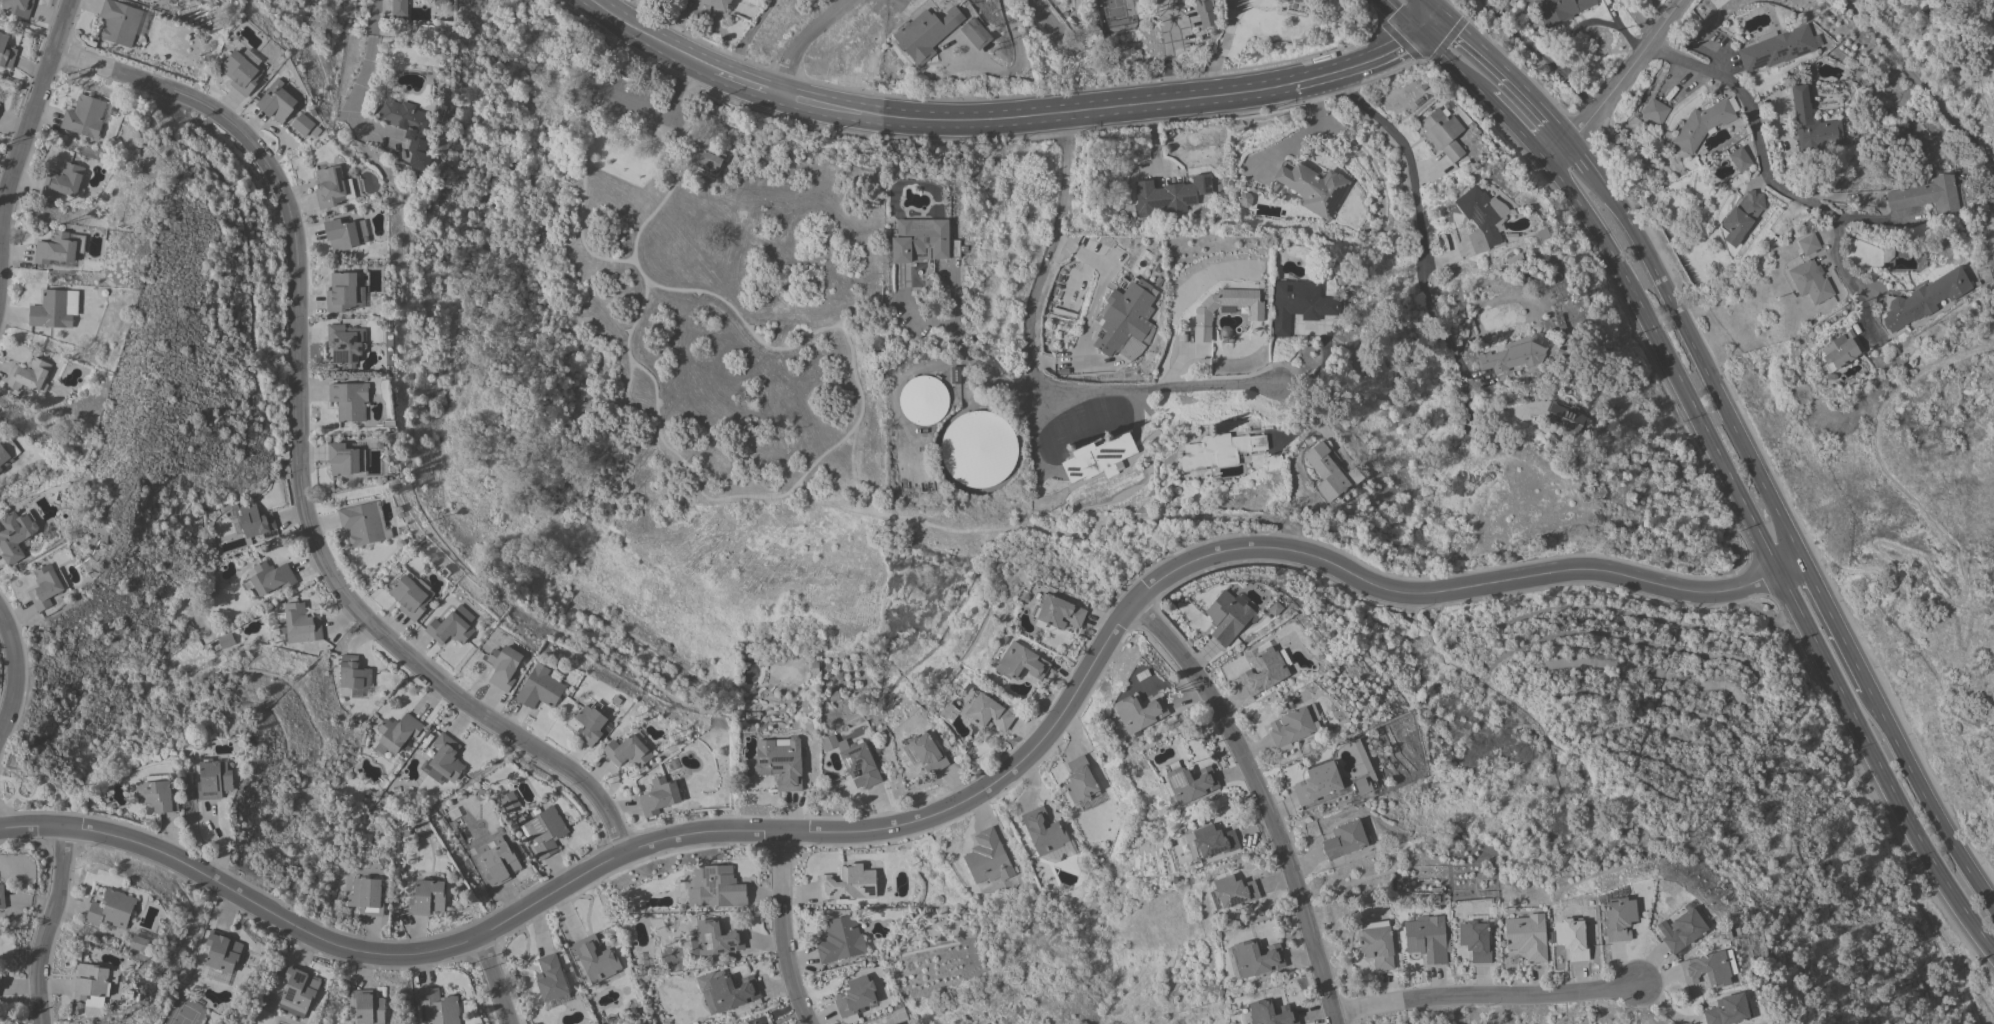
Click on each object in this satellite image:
building: (173, 0)
building: (1297, 0)
building: (442, 2)
building: (1718, 3)
building: (718, 4)
road: (1438, 5)
building: (19, 7)
road: (1448, 7)
building: (399, 8)
building: (1559, 10)
building: (1205, 12)
road: (1400, 17)
road: (1641, 19)
road: (1047, 20)
building: (119, 22)
road: (1431, 22)
building: (925, 33)
building: (975, 33)
road: (747, 35)
road: (650, 36)
road: (805, 39)
building: (1777, 47)
road: (603, 49)
road: (1168, 50)
building: (6, 52)
road: (1538, 53)
road: (367, 58)
road: (1452, 64)
road: (1359, 66)
road: (1505, 71)
building: (241, 73)
road: (748, 80)
road: (1923, 83)
road: (679, 85)
road: (1620, 86)
road: (627, 96)
building: (277, 101)
parking lot: (638, 105)
road: (32, 111)
building: (1655, 111)
road: (604, 112)
road: (1036, 115)
building: (85, 116)
building: (1704, 123)
building: (302, 124)
road: (1512, 124)
building: (1813, 124)
building: (409, 128)
building: (1443, 133)
road: (1303, 134)
road: (1987, 148)
building: (705, 156)
building: (1739, 159)
road: (1767, 179)
building: (64, 181)
building: (329, 187)
building: (1313, 188)
building: (1169, 195)
building: (1927, 195)
building: (1741, 217)
building: (1482, 218)
road: (1416, 227)
building: (341, 234)
building: (920, 239)
building: (1808, 244)
building: (59, 248)
building: (1887, 254)
road: (1661, 258)
building: (1810, 281)
building: (341, 292)
building: (1925, 299)
building: (1300, 304)
building: (1225, 309)
building: (51, 310)
building: (1125, 315)
park: (711, 325)
building: (346, 343)
road: (1689, 344)
building: (1841, 349)
road: (965, 353)
building: (1512, 357)
road: (1028, 368)
building: (955, 375)
building: (29, 376)
building: (923, 399)
building: (350, 400)
building: (1565, 419)
road: (604, 427)
road: (1031, 437)
building: (978, 448)
building: (1219, 450)
road: (298, 452)
building: (4, 457)
building: (345, 458)
building: (1099, 458)
building: (1273, 462)
building: (1325, 471)
road: (693, 474)
road: (864, 497)
building: (254, 520)
building: (362, 523)
building: (14, 535)
road: (1765, 555)
road: (1964, 558)
building: (265, 579)
building: (46, 586)
building: (211, 587)
building: (409, 597)
building: (1058, 612)
building: (1229, 617)
building: (299, 623)
road: (1833, 626)
building: (450, 627)
building: (226, 641)
building: (1021, 662)
building: (503, 666)
building: (1263, 668)
road: (12, 673)
building: (352, 675)
building: (539, 688)
building: (985, 712)
building: (1138, 713)
building: (590, 723)
building: (1294, 725)
building: (396, 736)
building: (627, 751)
building: (925, 753)
building: (445, 759)
building: (854, 760)
building: (781, 762)
building: (214, 778)
building: (1080, 781)
building: (1189, 782)
building: (1314, 784)
building: (1360, 786)
building: (157, 793)
building: (659, 796)
road: (1874, 798)
road: (1263, 800)
road: (1928, 800)
building: (509, 801)
road: (935, 814)
building: (546, 830)
building: (1043, 831)
building: (1345, 839)
building: (1213, 841)
building: (988, 858)
building: (497, 861)
building: (848, 883)
building: (715, 887)
building: (1233, 891)
building: (366, 896)
building: (2, 897)
building: (427, 897)
building: (111, 909)
building: (1619, 918)
road: (47, 925)
building: (1683, 929)
road: (781, 931)
building: (1527, 936)
building: (714, 938)
building: (1428, 938)
building: (1572, 938)
building: (840, 939)
building: (1475, 939)
building: (139, 943)
building: (1376, 944)
building: (222, 952)
building: (1257, 958)
building: (595, 959)
building: (1729, 961)
building: (1707, 970)
building: (549, 978)
road: (491, 980)
building: (90, 981)
building: (299, 988)
building: (725, 990)
building: (855, 996)
road: (1486, 999)
building: (368, 1007)
building: (438, 1007)
building: (1728, 1010)
building: (1271, 1013)
building: (894, 1023)

